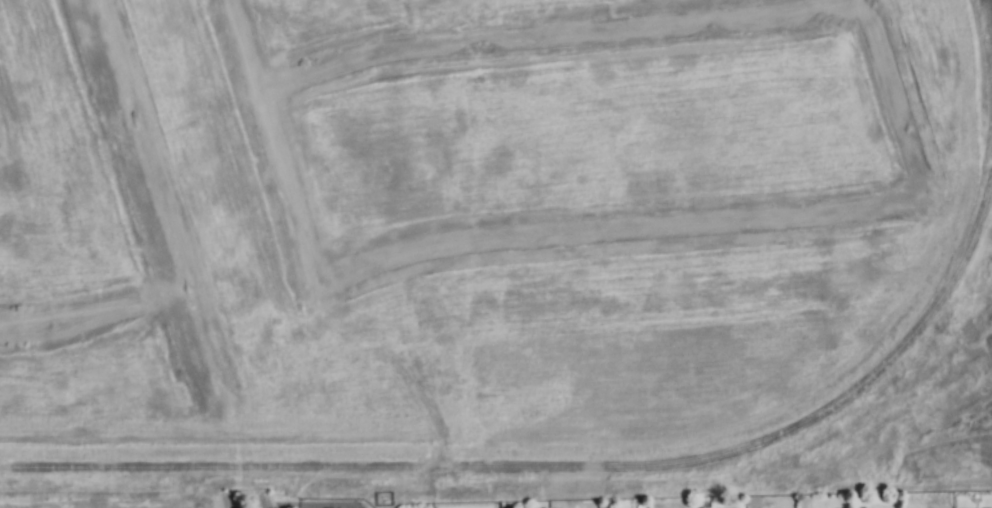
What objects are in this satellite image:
railway: (561, 468)
road: (261, 501)
road: (226, 502)
building: (334, 503)

